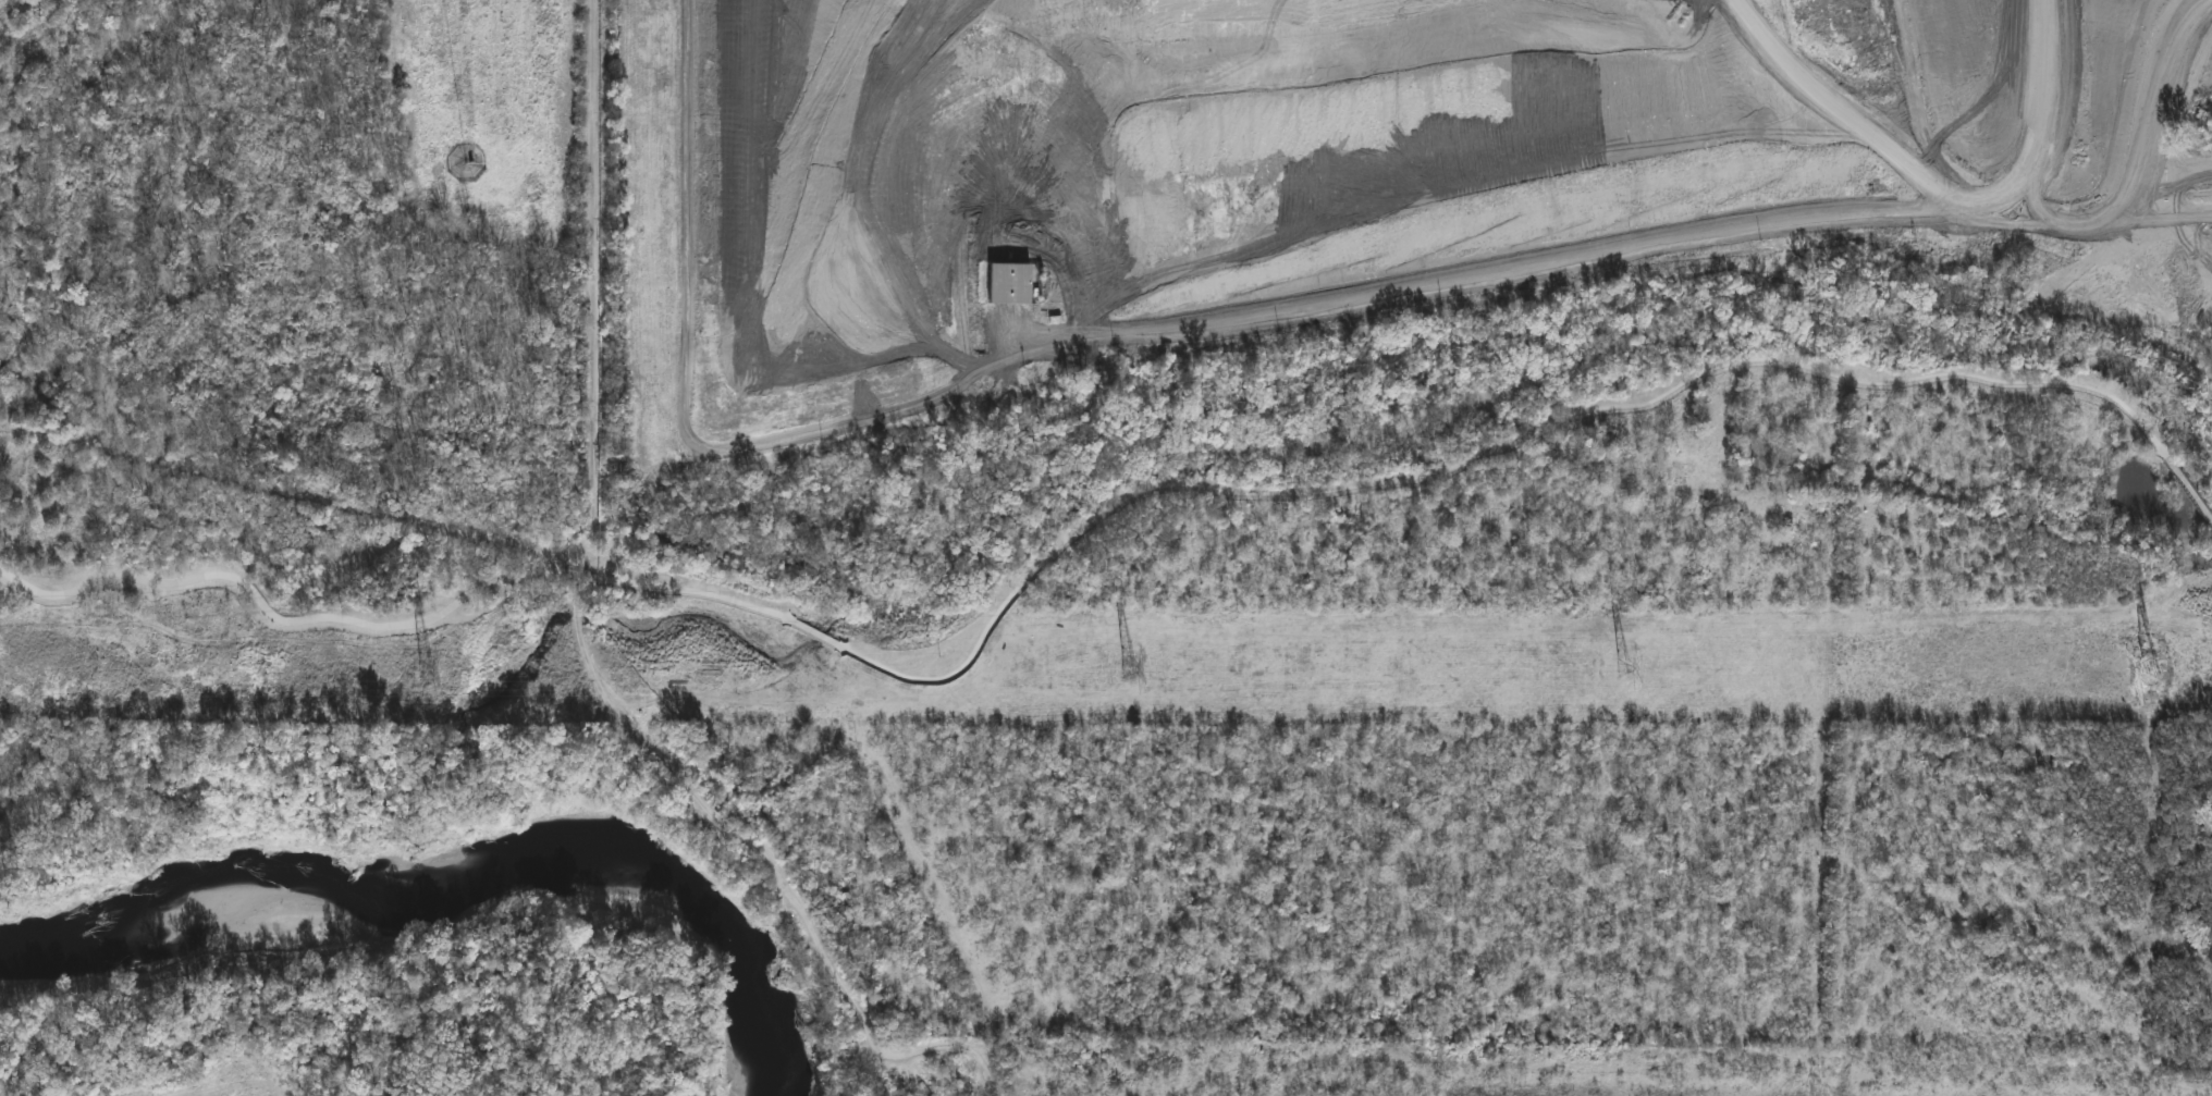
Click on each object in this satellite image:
landfill: (1291, 174)
building: (1009, 286)
road: (686, 393)
road: (1087, 526)
road: (588, 643)
power tower: (2152, 666)
power tower: (420, 668)
power tower: (1626, 668)
power tower: (1129, 670)
river: (452, 887)
building: (839, 906)

